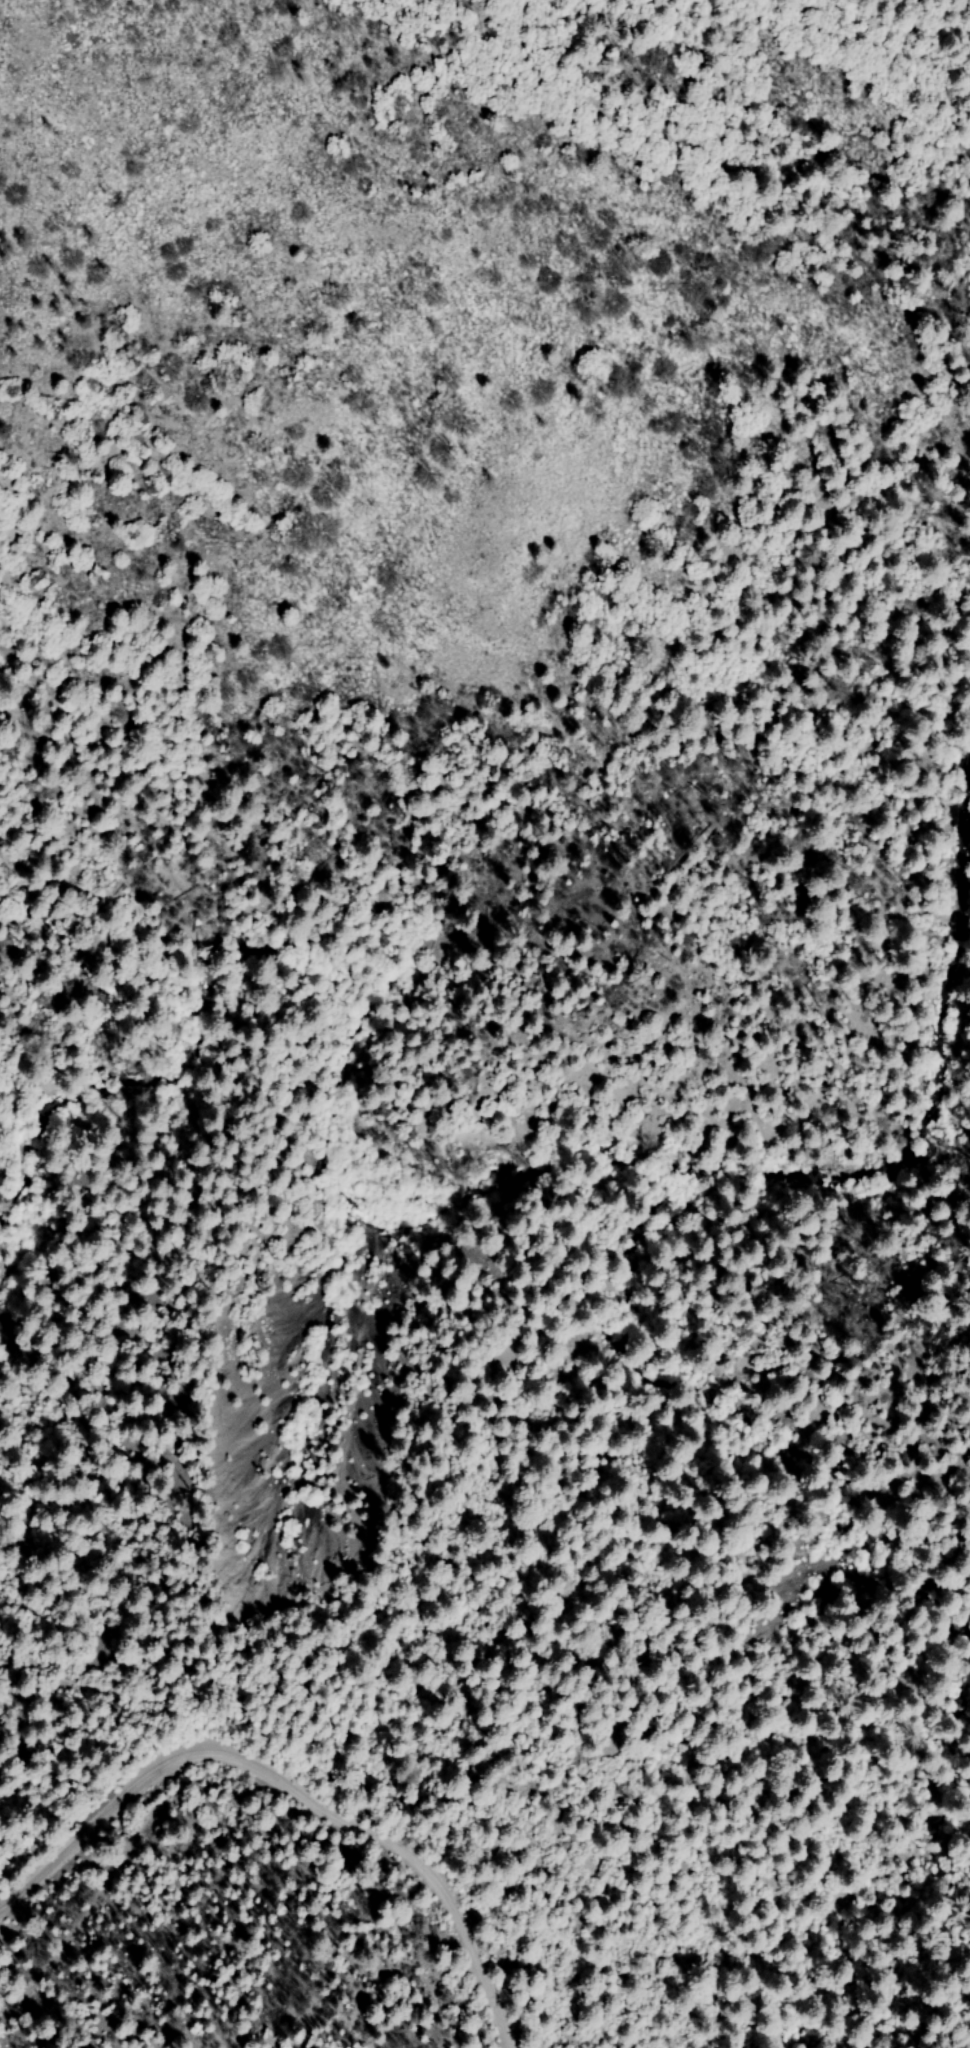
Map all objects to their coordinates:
road: (291, 1790)

